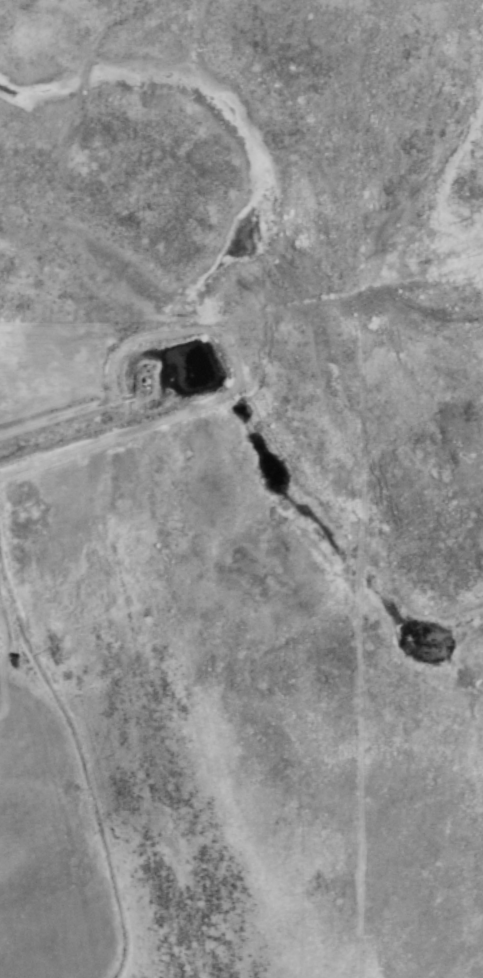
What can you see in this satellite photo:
crop: (408, 653)

